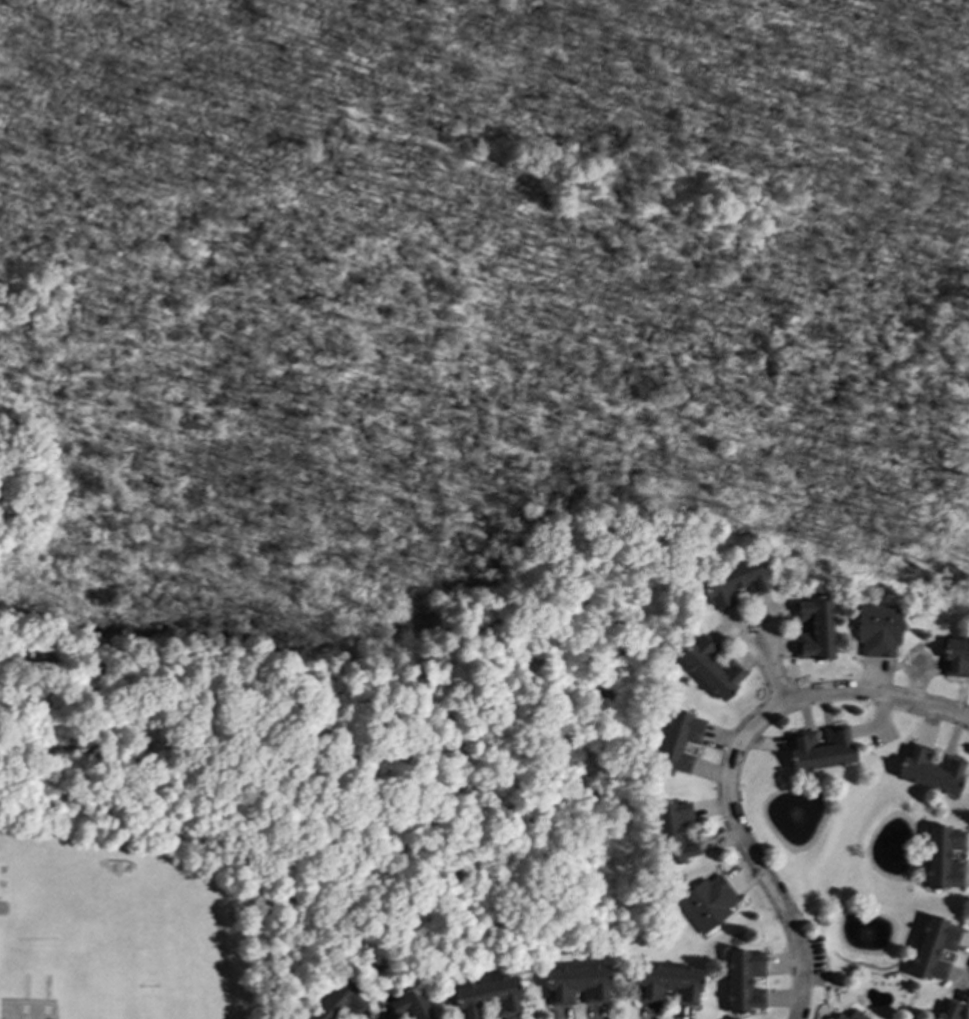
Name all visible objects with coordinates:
building: (734, 582)
building: (813, 628)
building: (877, 629)
building: (956, 657)
building: (710, 667)
road: (768, 669)
building: (676, 741)
building: (819, 747)
road: (730, 764)
building: (930, 770)
building: (673, 831)
building: (943, 857)
building: (707, 902)
building: (932, 948)
building: (743, 980)
building: (667, 983)
building: (575, 984)
building: (485, 997)
building: (336, 1001)
building: (408, 1004)
building: (951, 1010)
building: (851, 1015)

